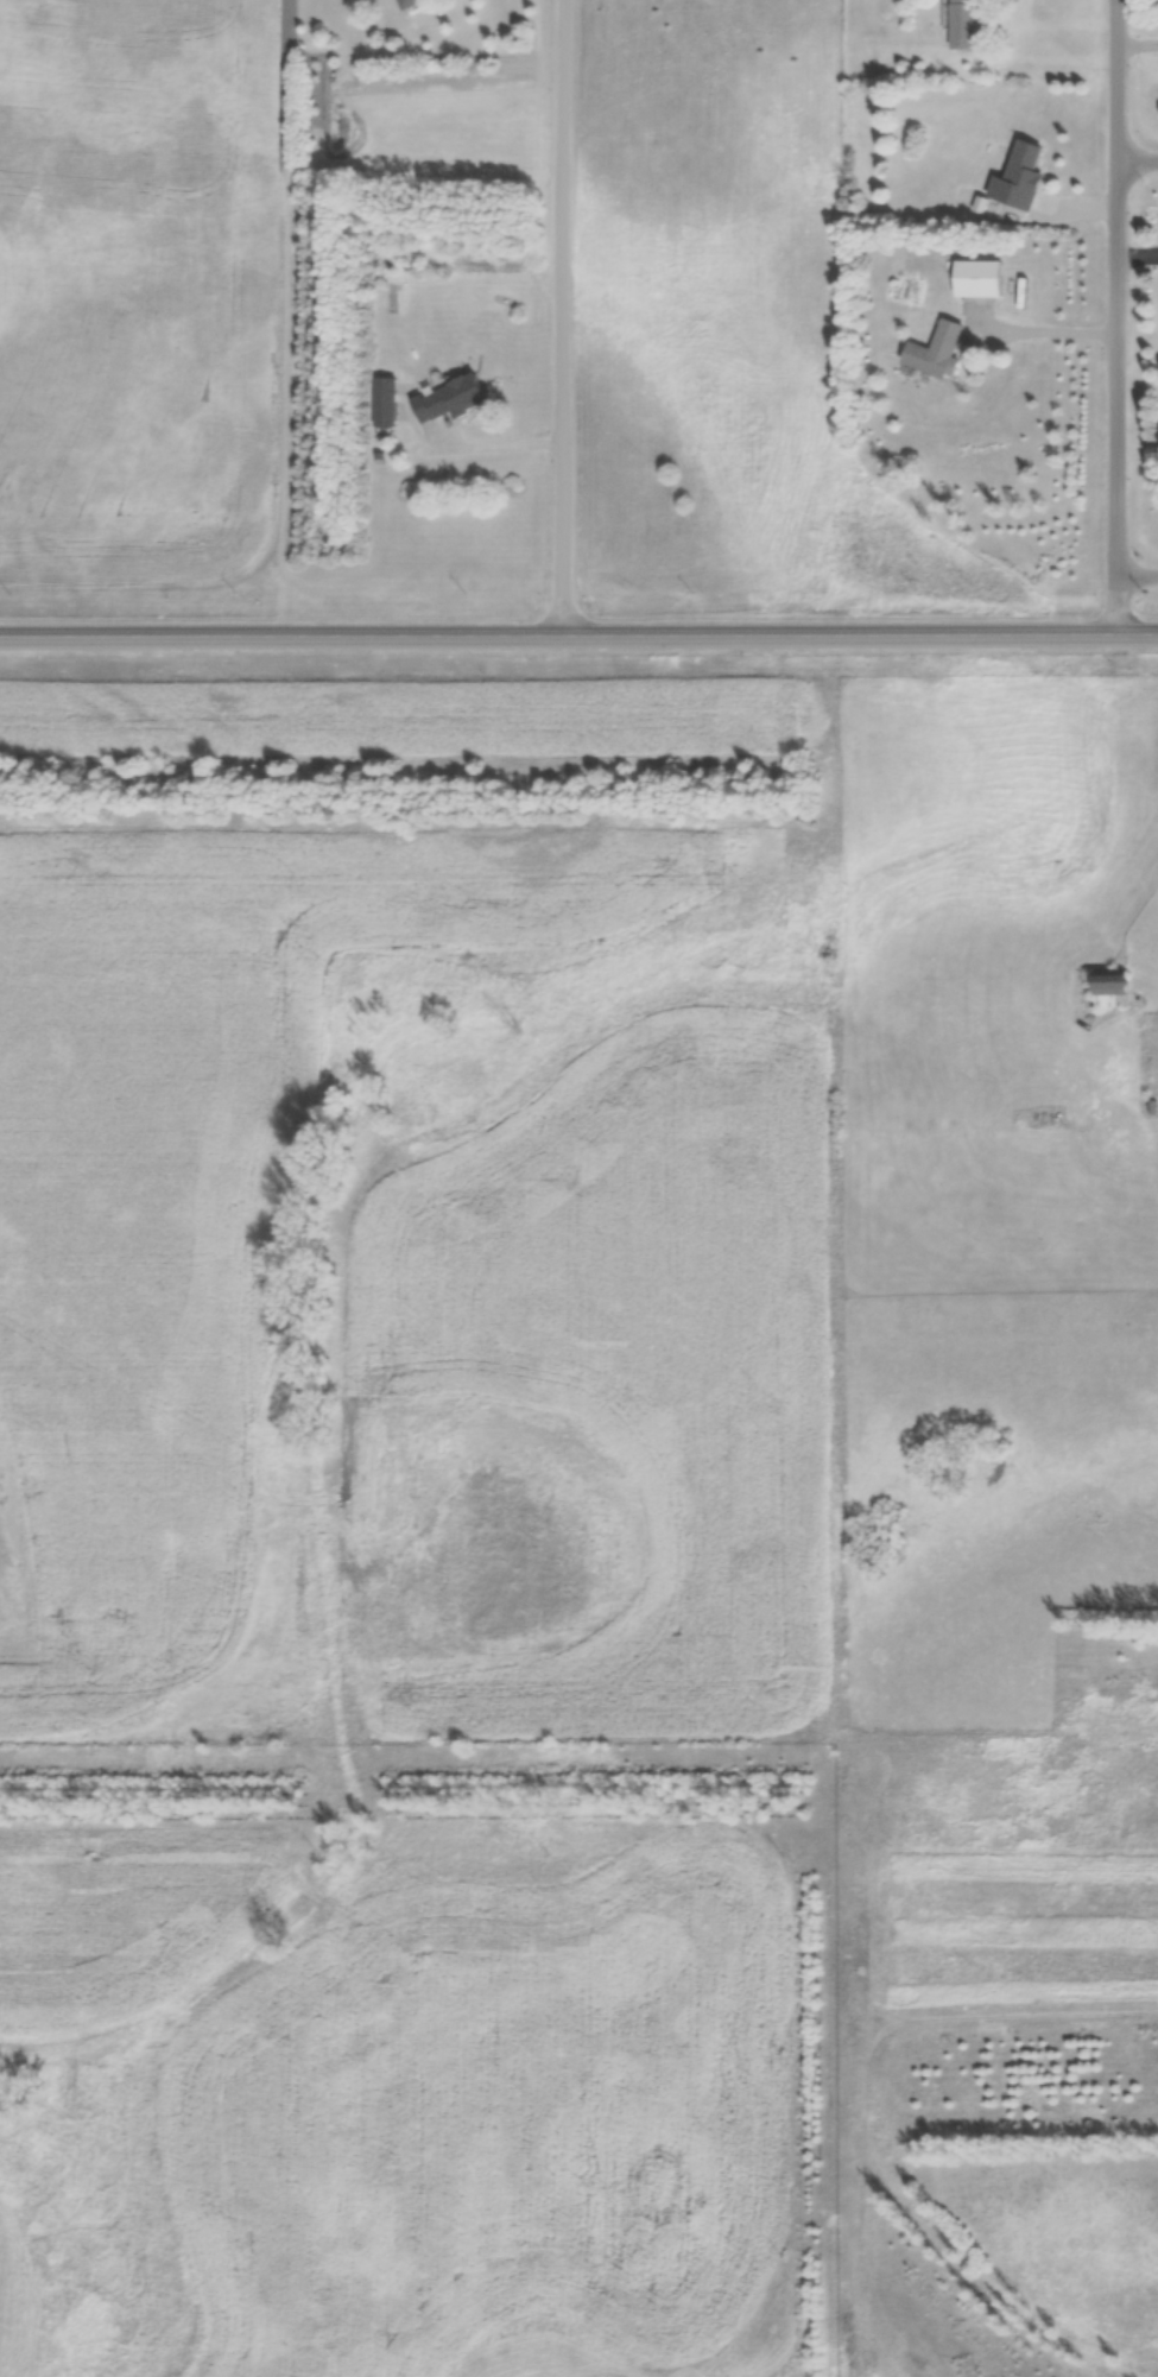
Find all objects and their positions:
building: (406, 2)
building: (967, 24)
road: (1140, 163)
building: (1020, 179)
building: (983, 280)
road: (1126, 318)
road: (564, 320)
road: (1057, 331)
building: (937, 353)
building: (451, 399)
building: (386, 403)
road: (502, 445)
road: (1141, 577)
road: (578, 639)
building: (1112, 991)

